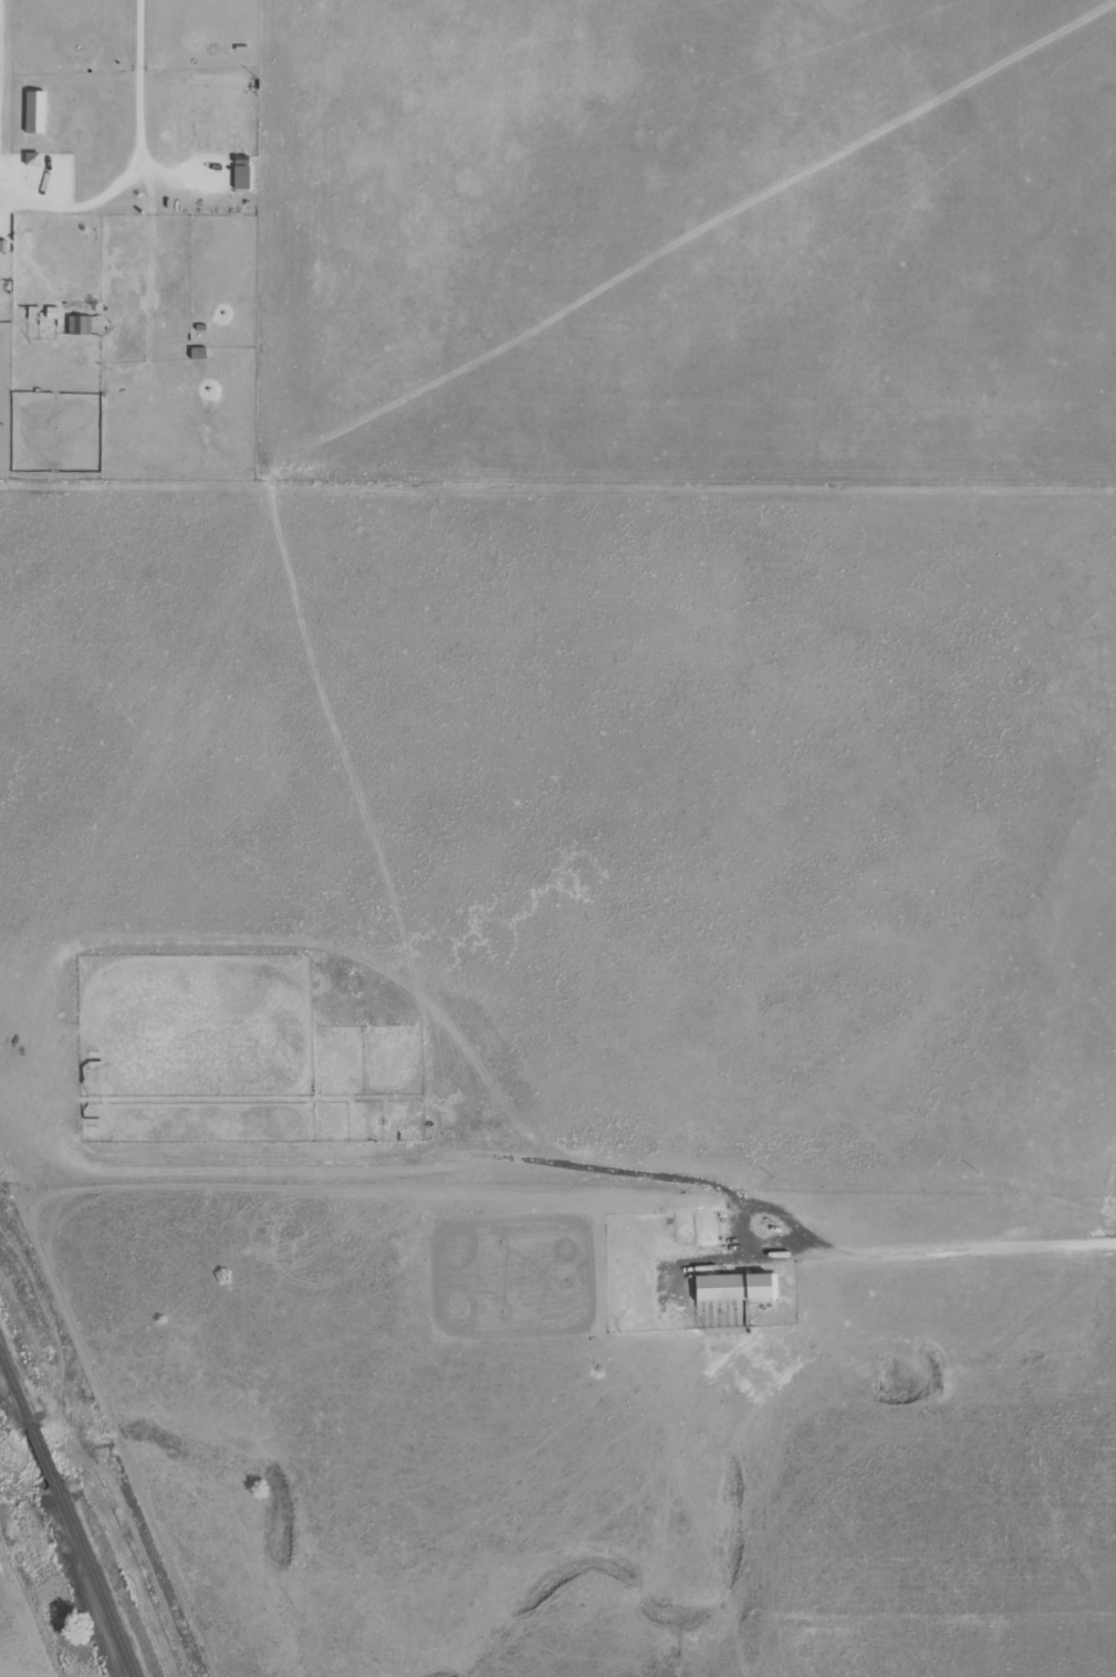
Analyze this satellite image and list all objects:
building: (34, 112)
building: (187, 129)
building: (241, 172)
building: (1, 247)
building: (77, 325)
building: (196, 354)
building: (734, 1287)
railway: (67, 1512)

